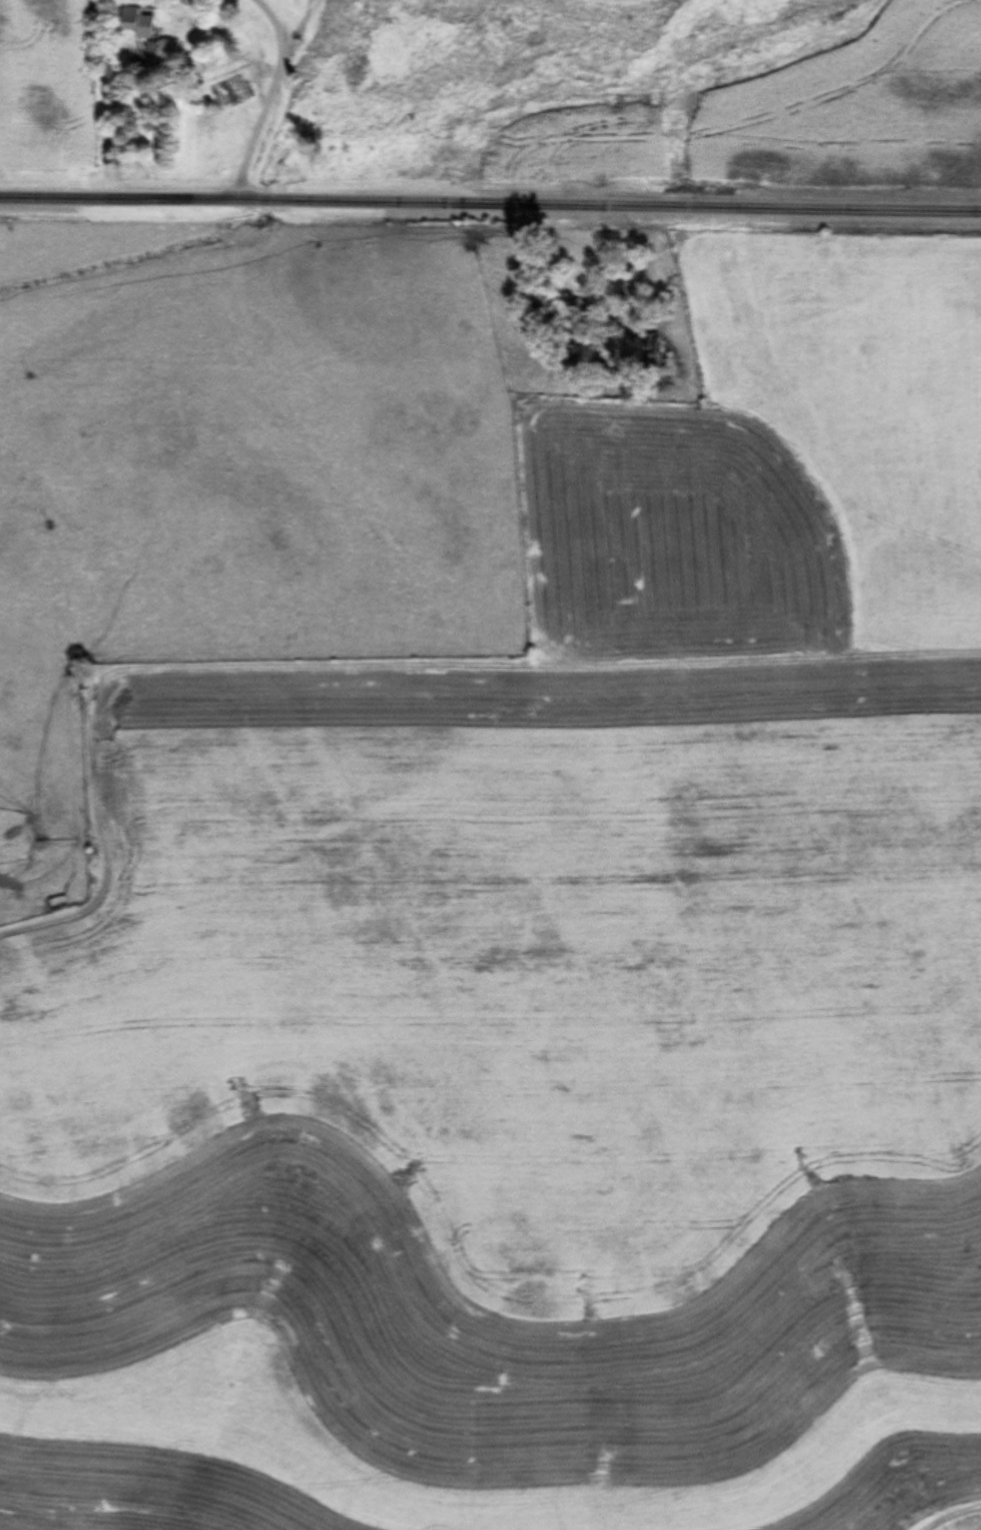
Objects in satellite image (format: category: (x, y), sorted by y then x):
building: (134, 23)
road: (490, 187)

